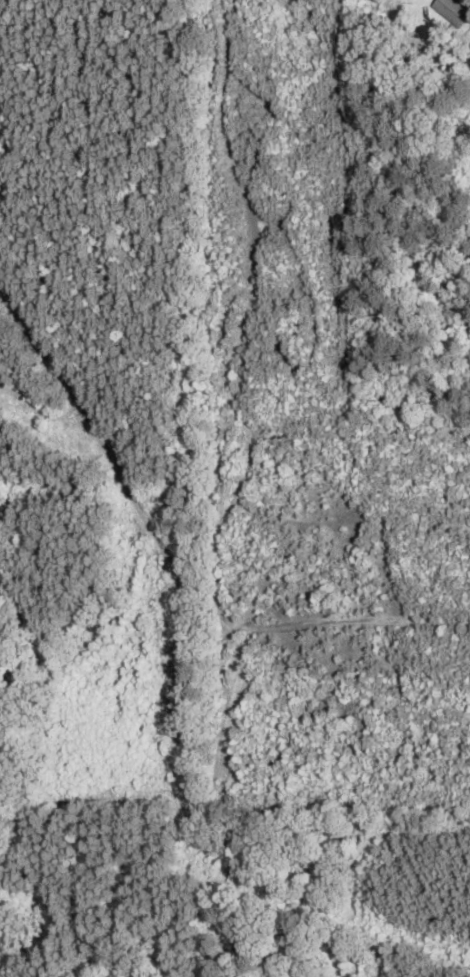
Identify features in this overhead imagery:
building: (452, 12)
road: (144, 498)

